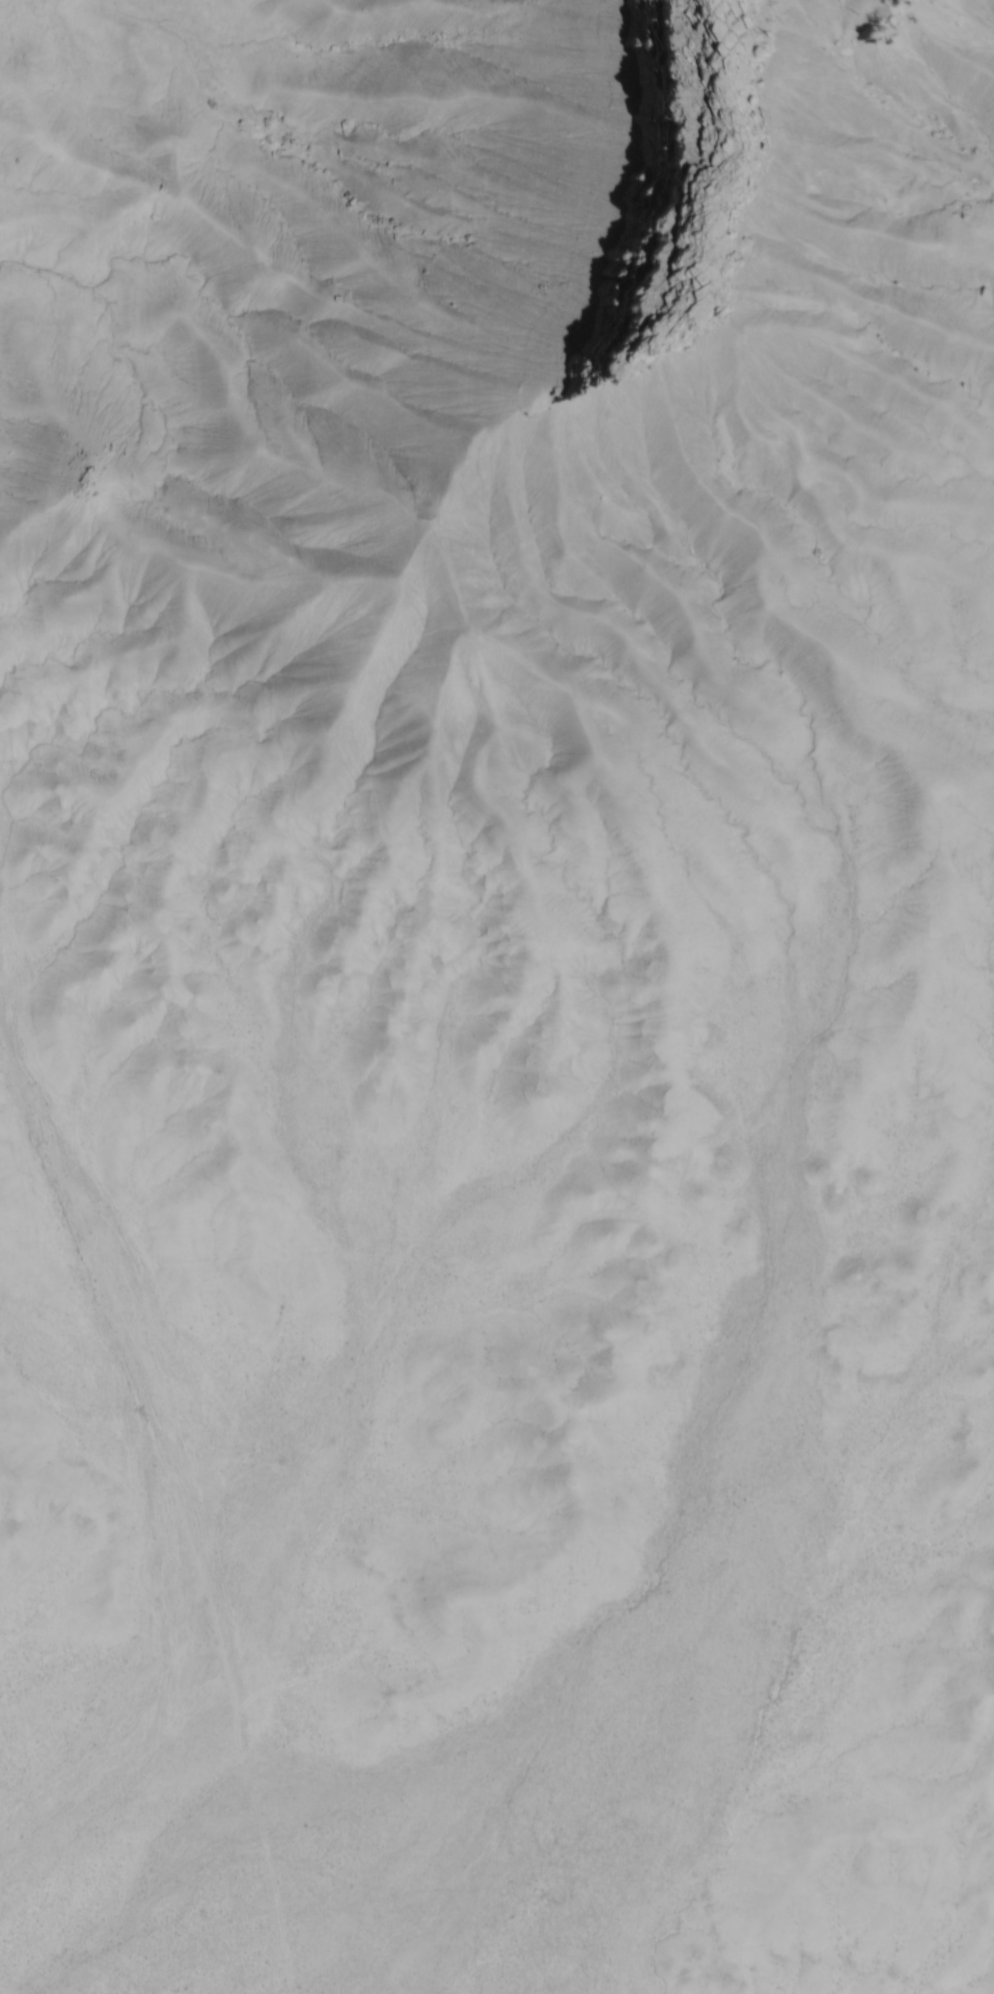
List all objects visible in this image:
road: (181, 1495)

